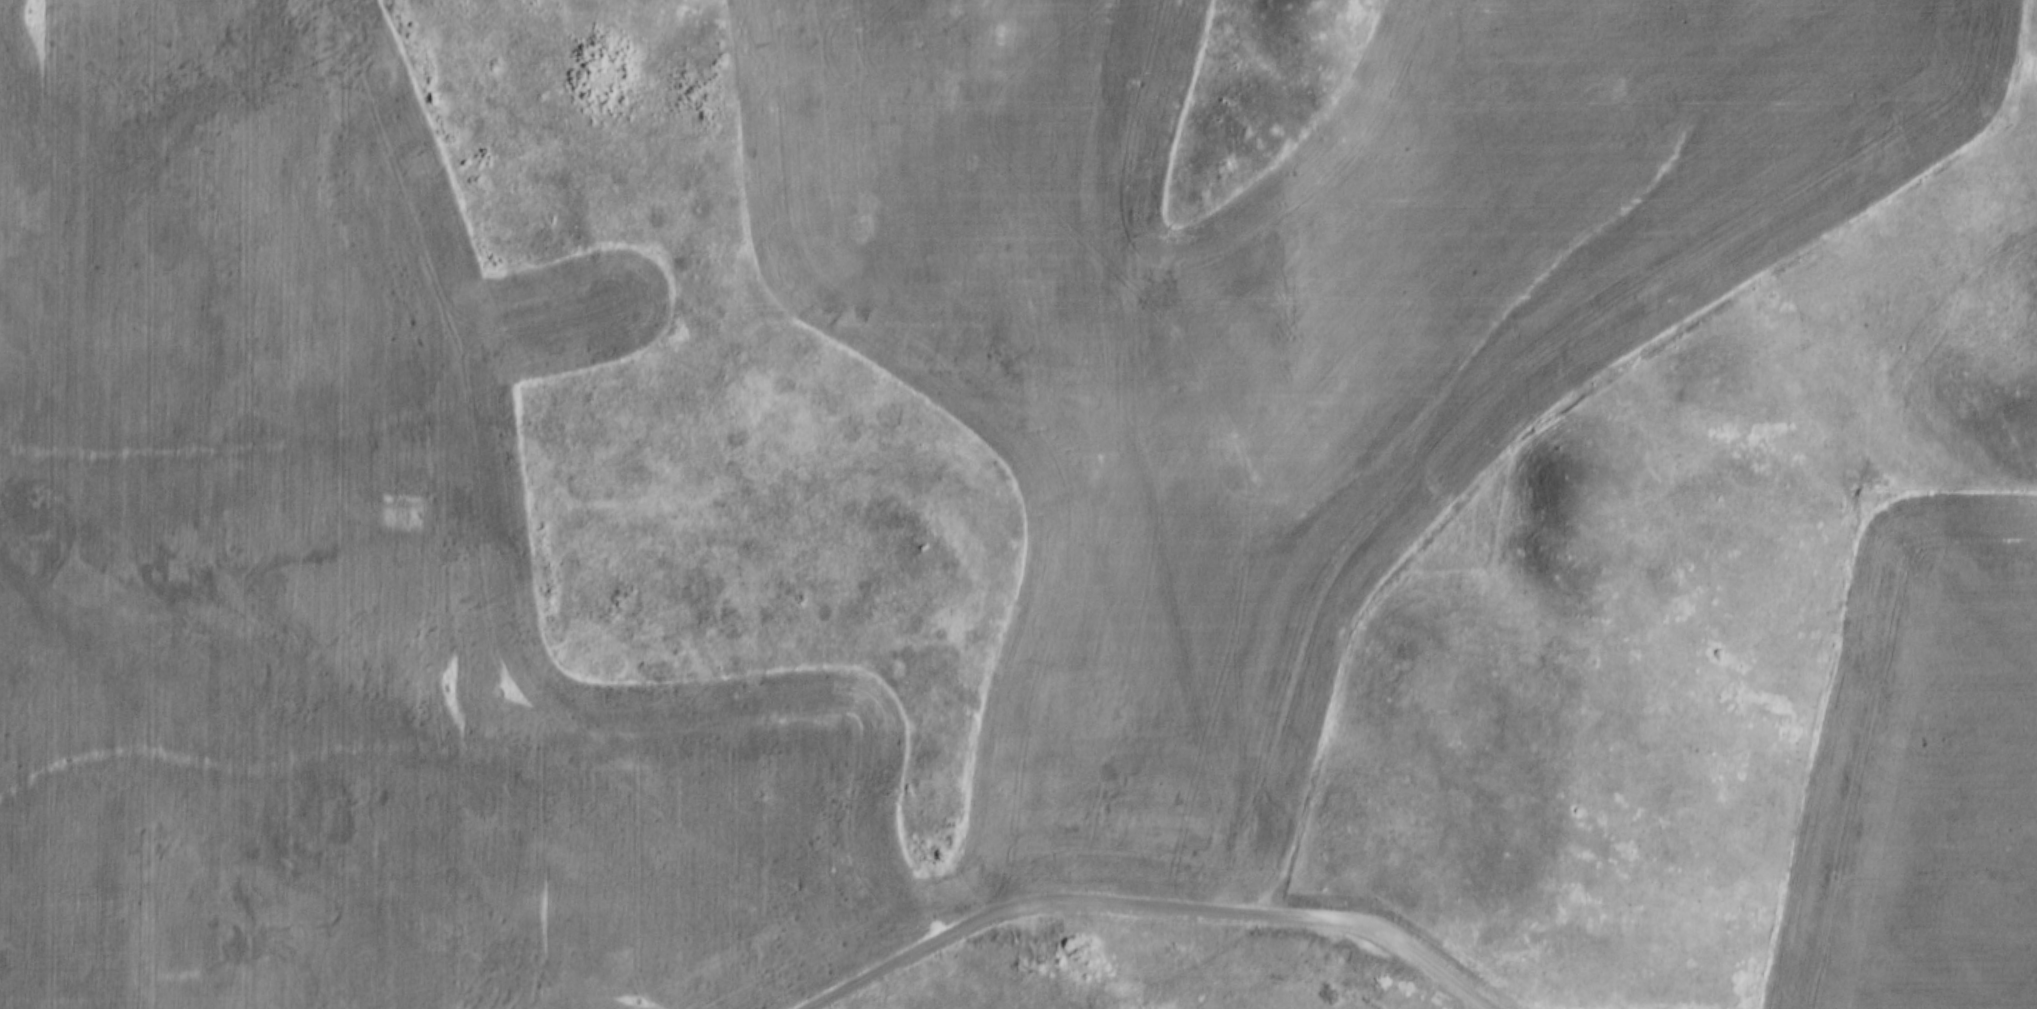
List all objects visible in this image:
road: (1149, 916)

